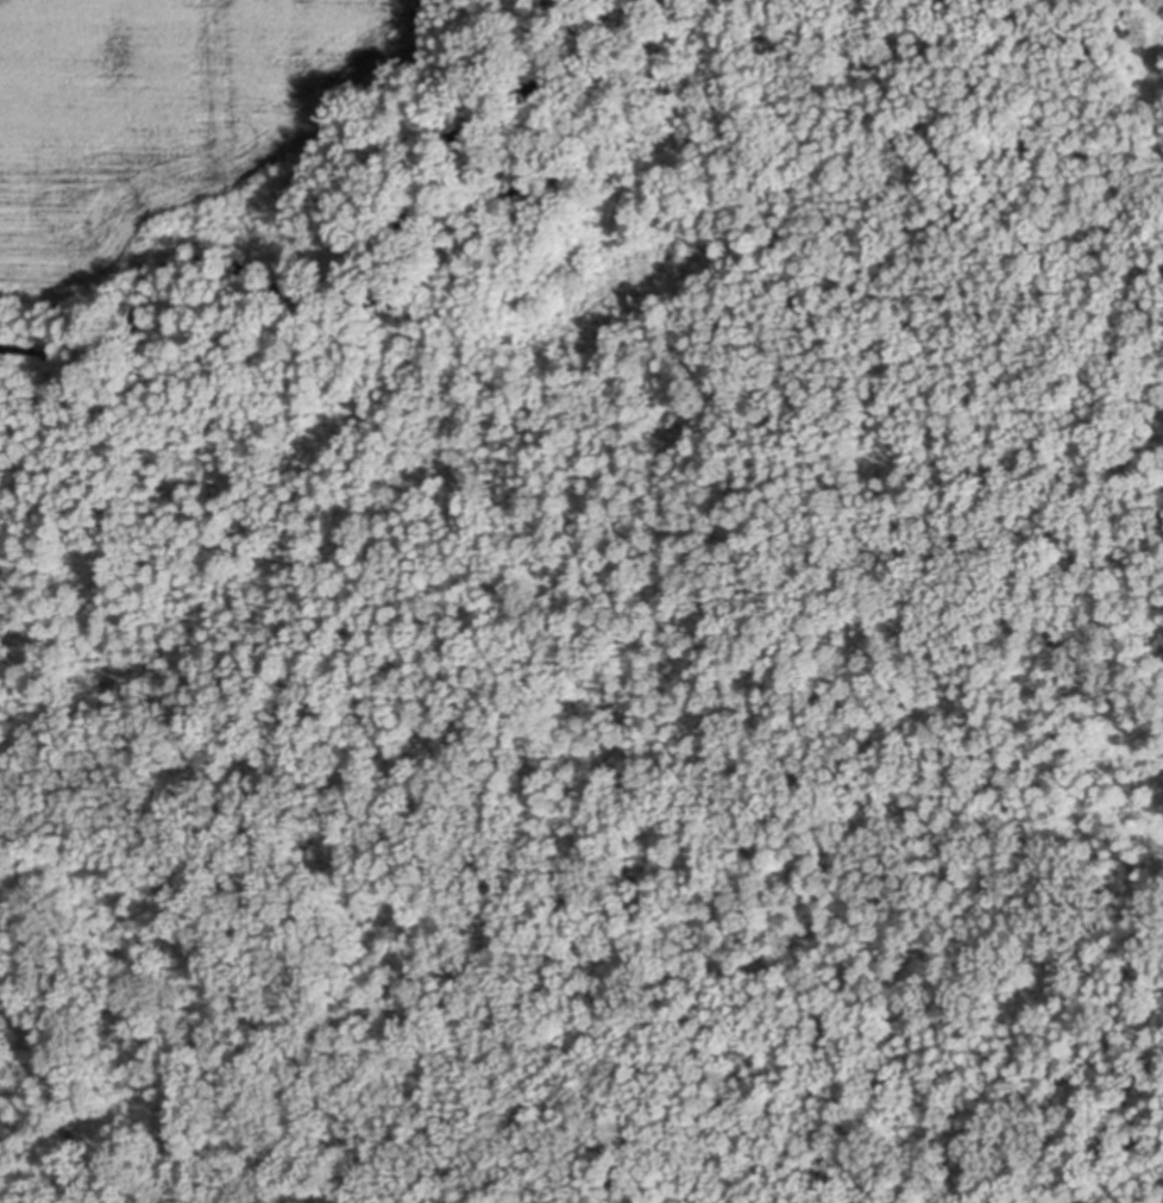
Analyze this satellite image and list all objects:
river: (384, 278)

